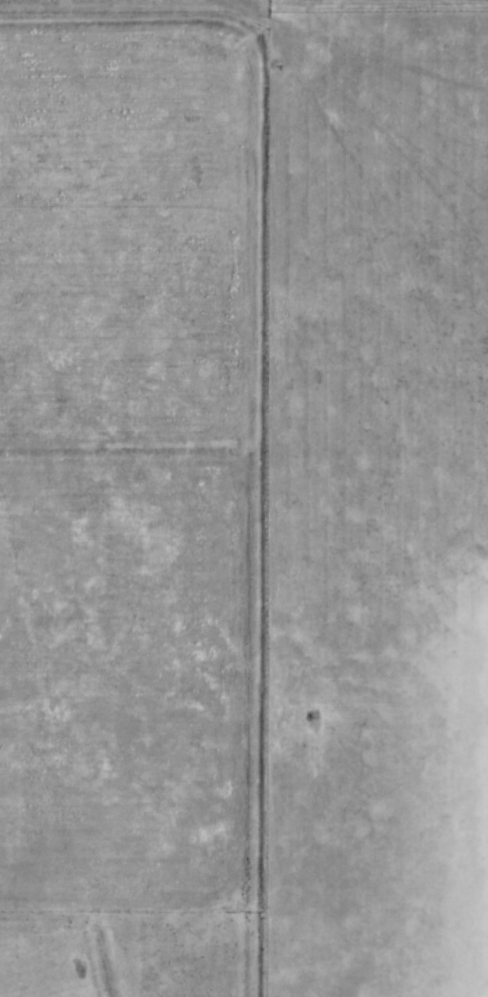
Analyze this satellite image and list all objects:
crop: (383, 5)
crop: (128, 245)
crop: (127, 678)
crop: (451, 790)

